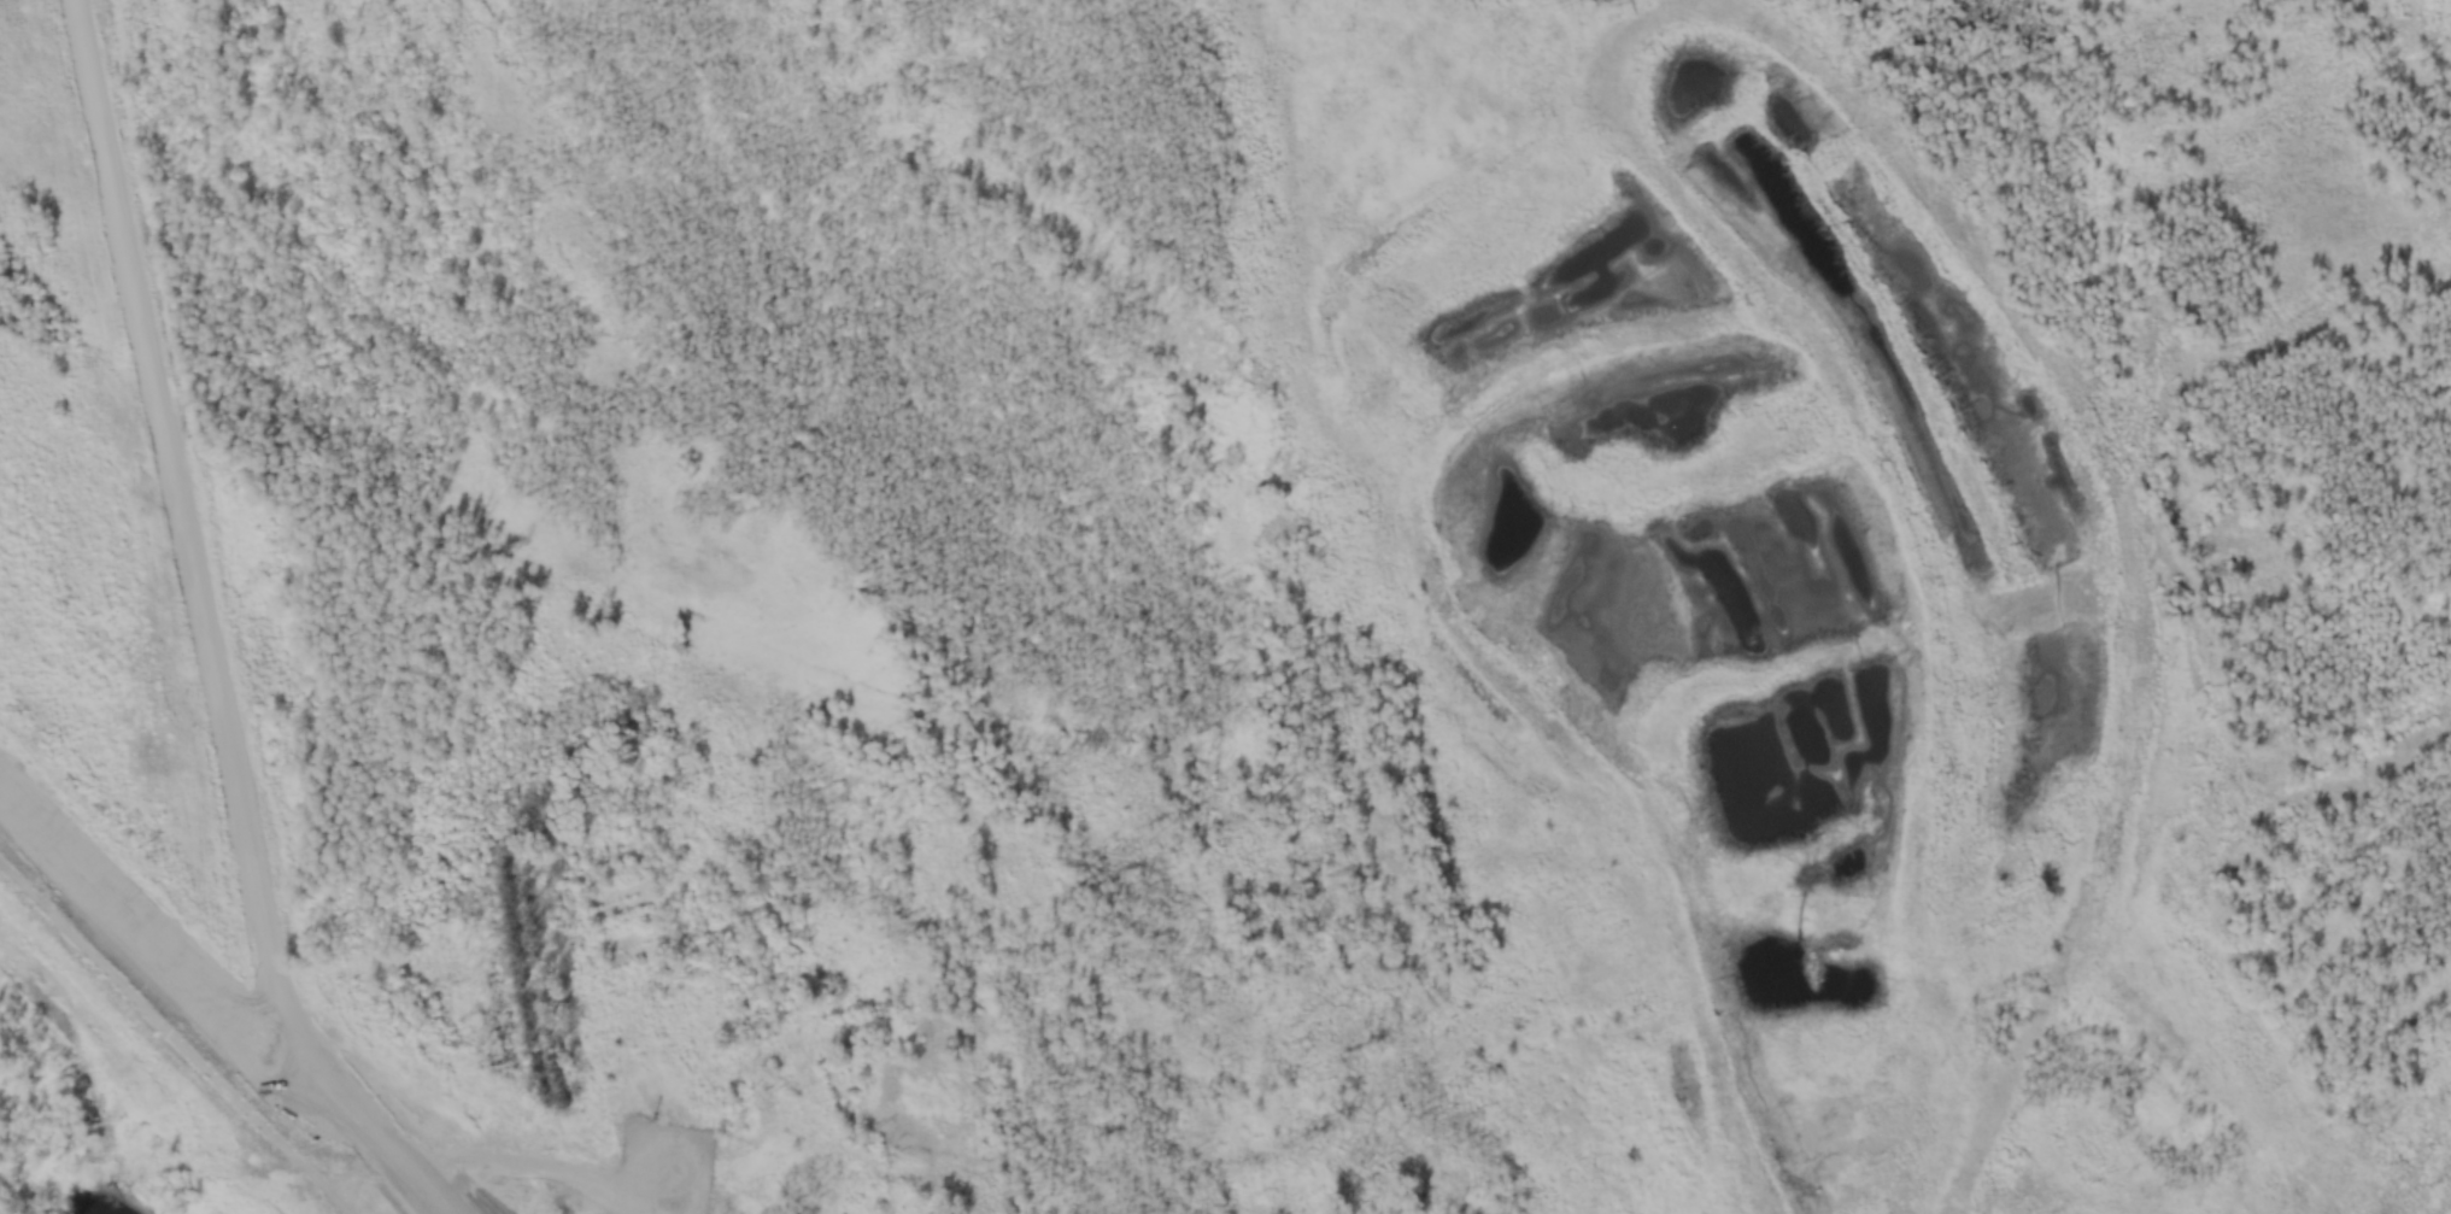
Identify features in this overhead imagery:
road: (135, 405)
building: (711, 1166)

